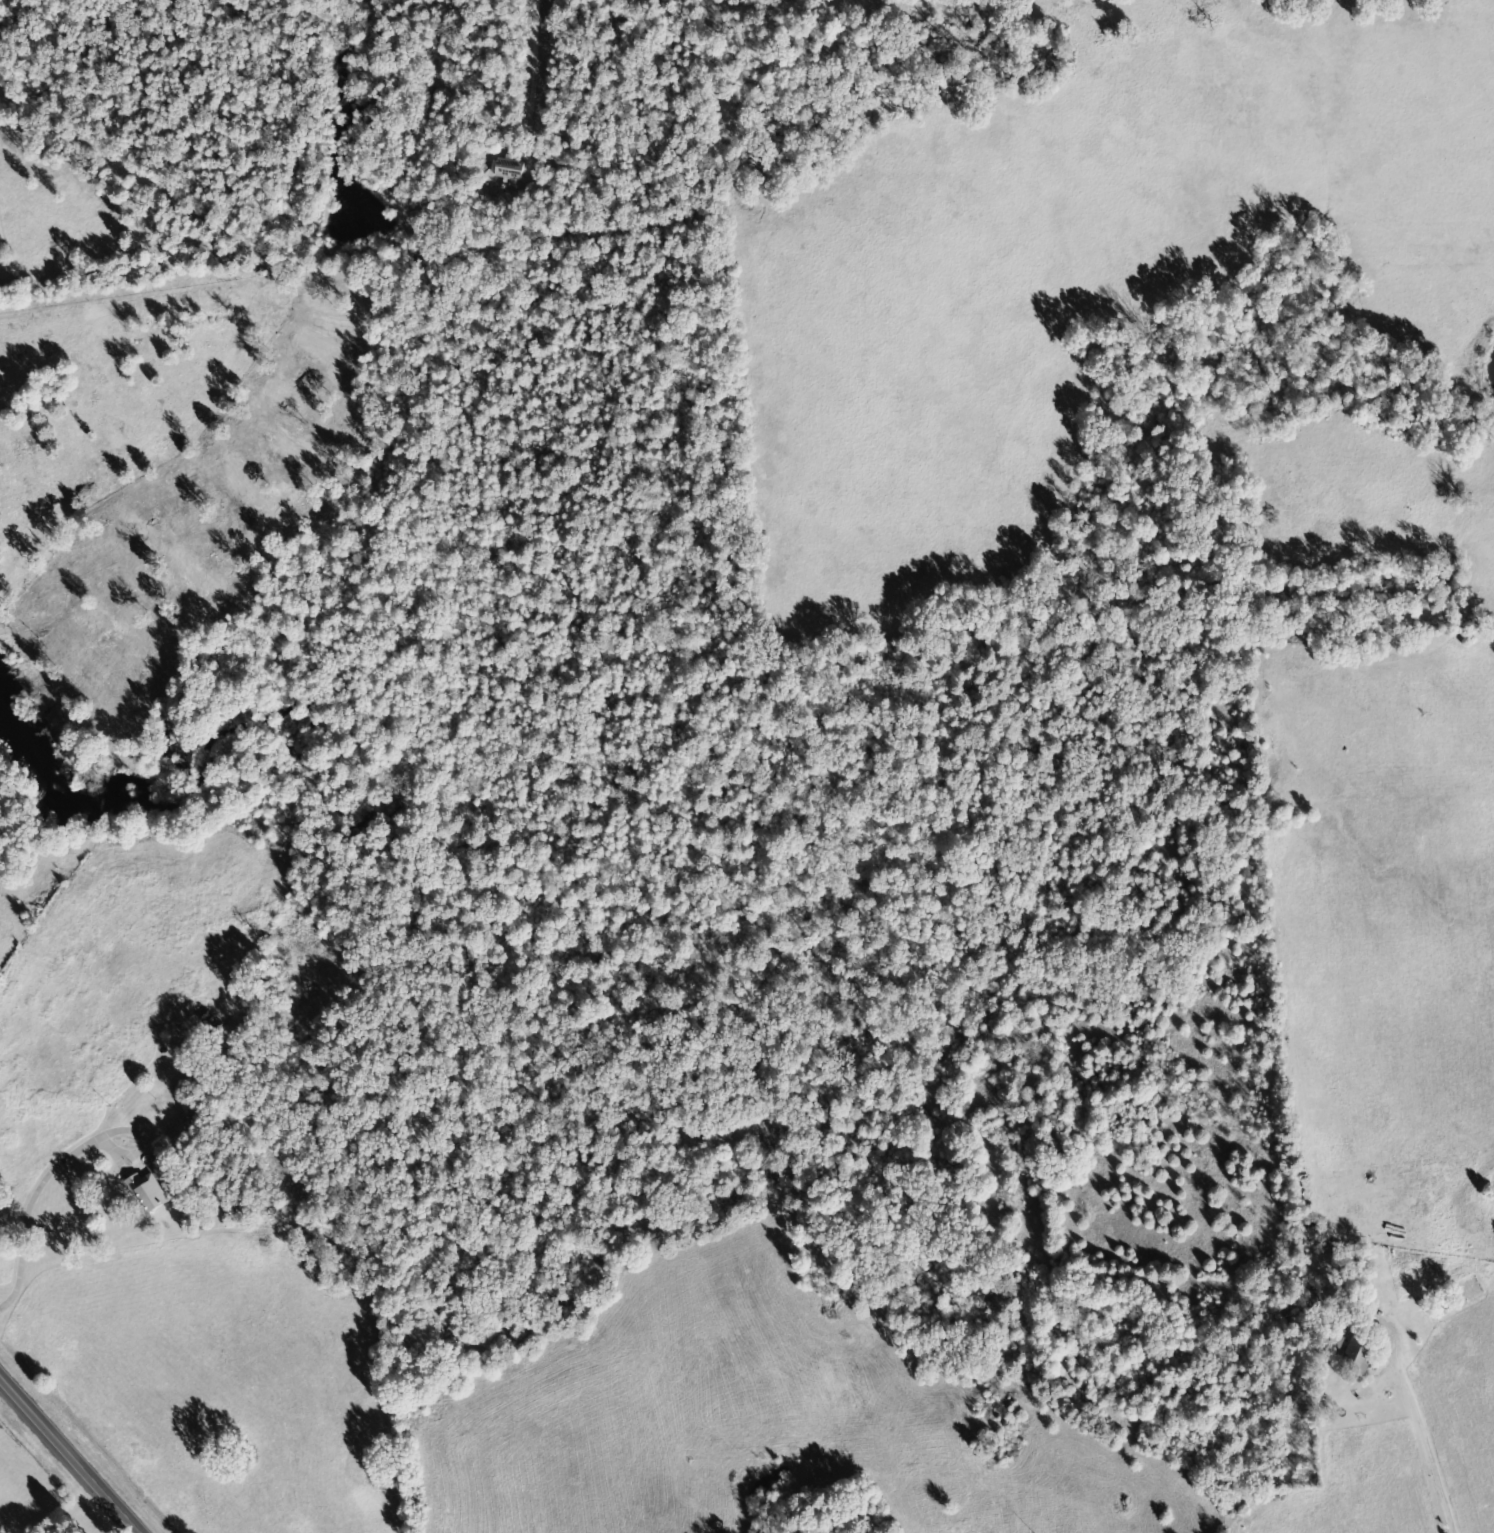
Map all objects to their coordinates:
building: (511, 171)
building: (150, 1194)
road: (71, 1454)

